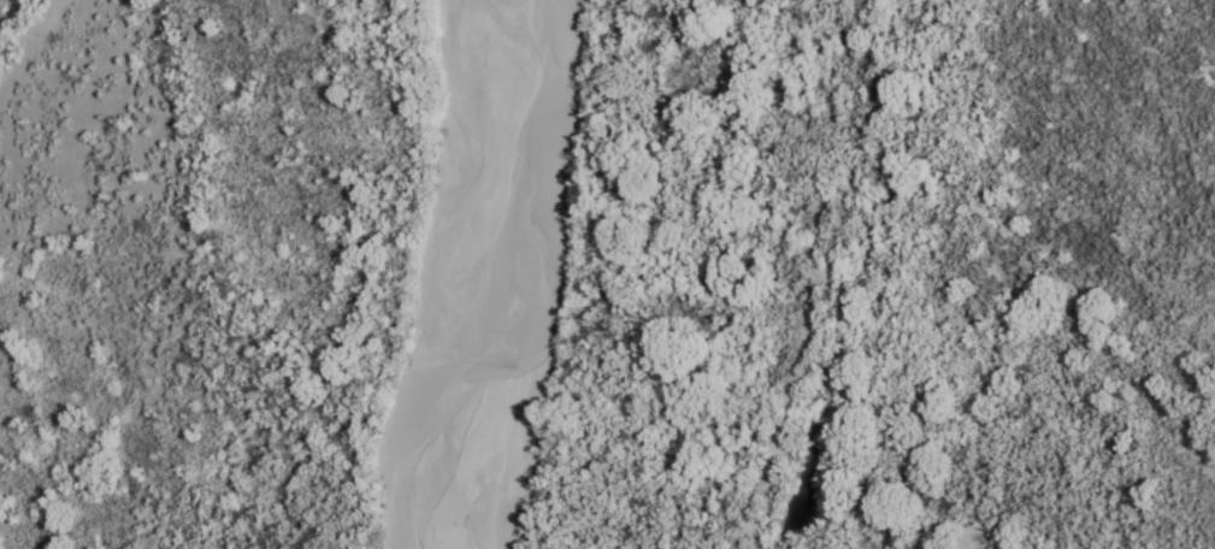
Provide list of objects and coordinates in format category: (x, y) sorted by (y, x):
river: (484, 274)

